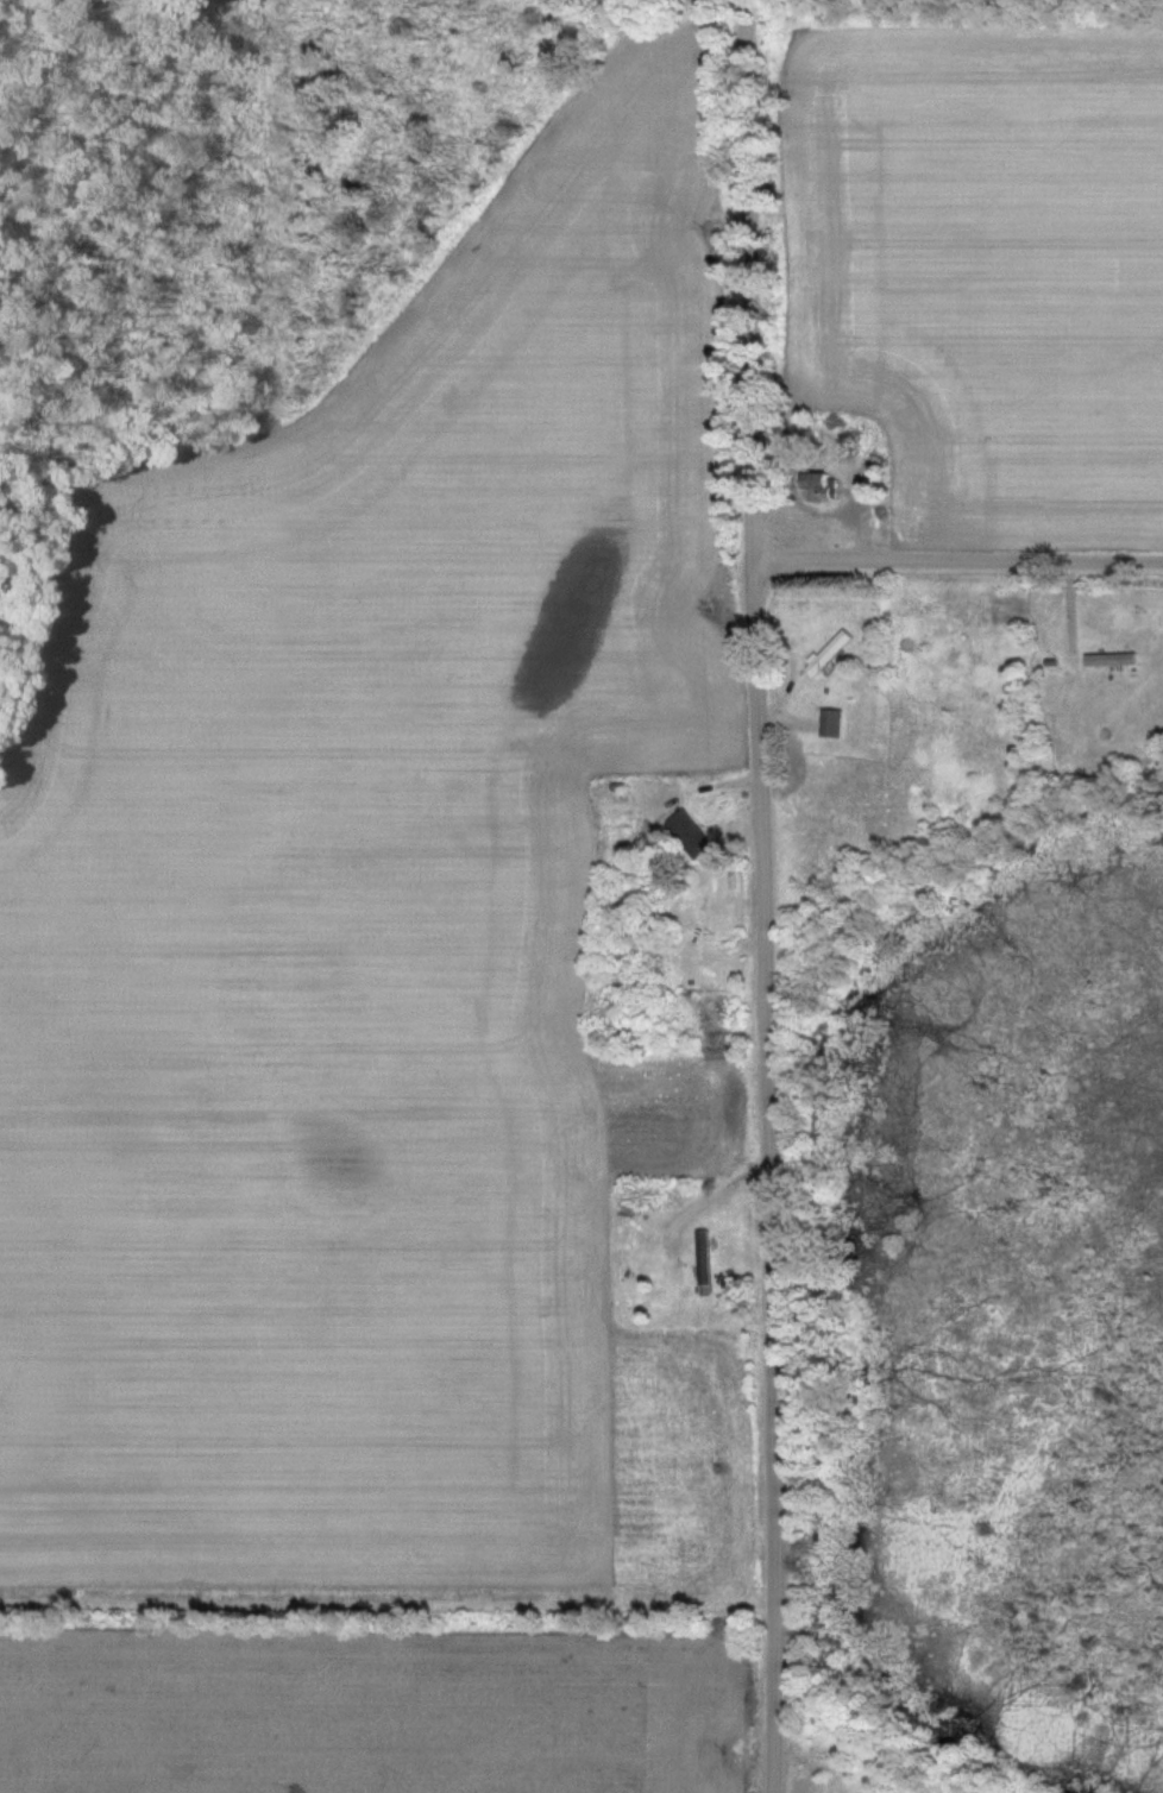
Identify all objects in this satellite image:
crop: (994, 265)
building: (823, 487)
road: (957, 555)
building: (832, 653)
building: (1112, 660)
building: (834, 723)
building: (690, 835)
road: (759, 896)
road: (708, 1196)
building: (705, 1258)

